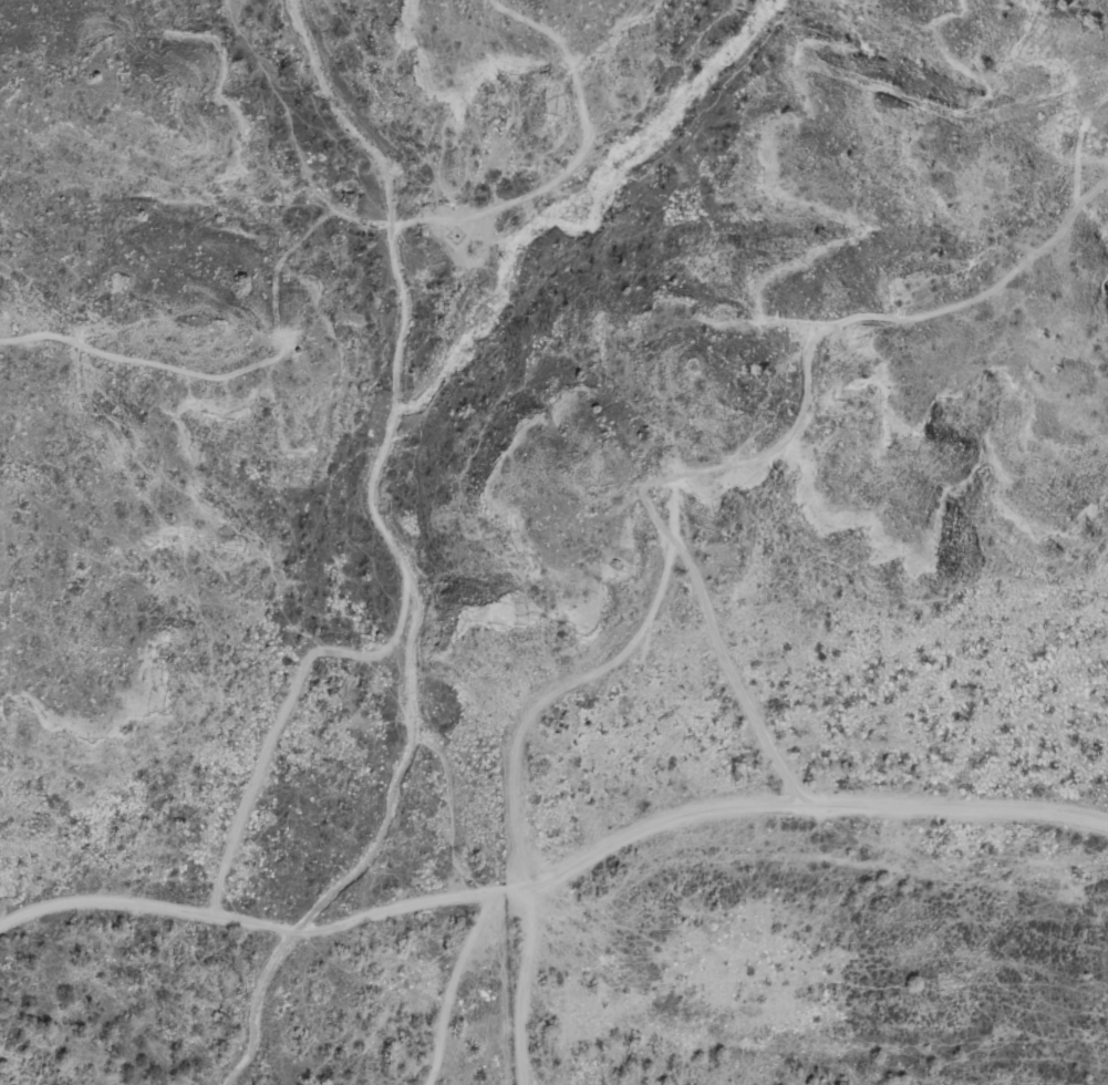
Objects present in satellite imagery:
road: (555, 875)

